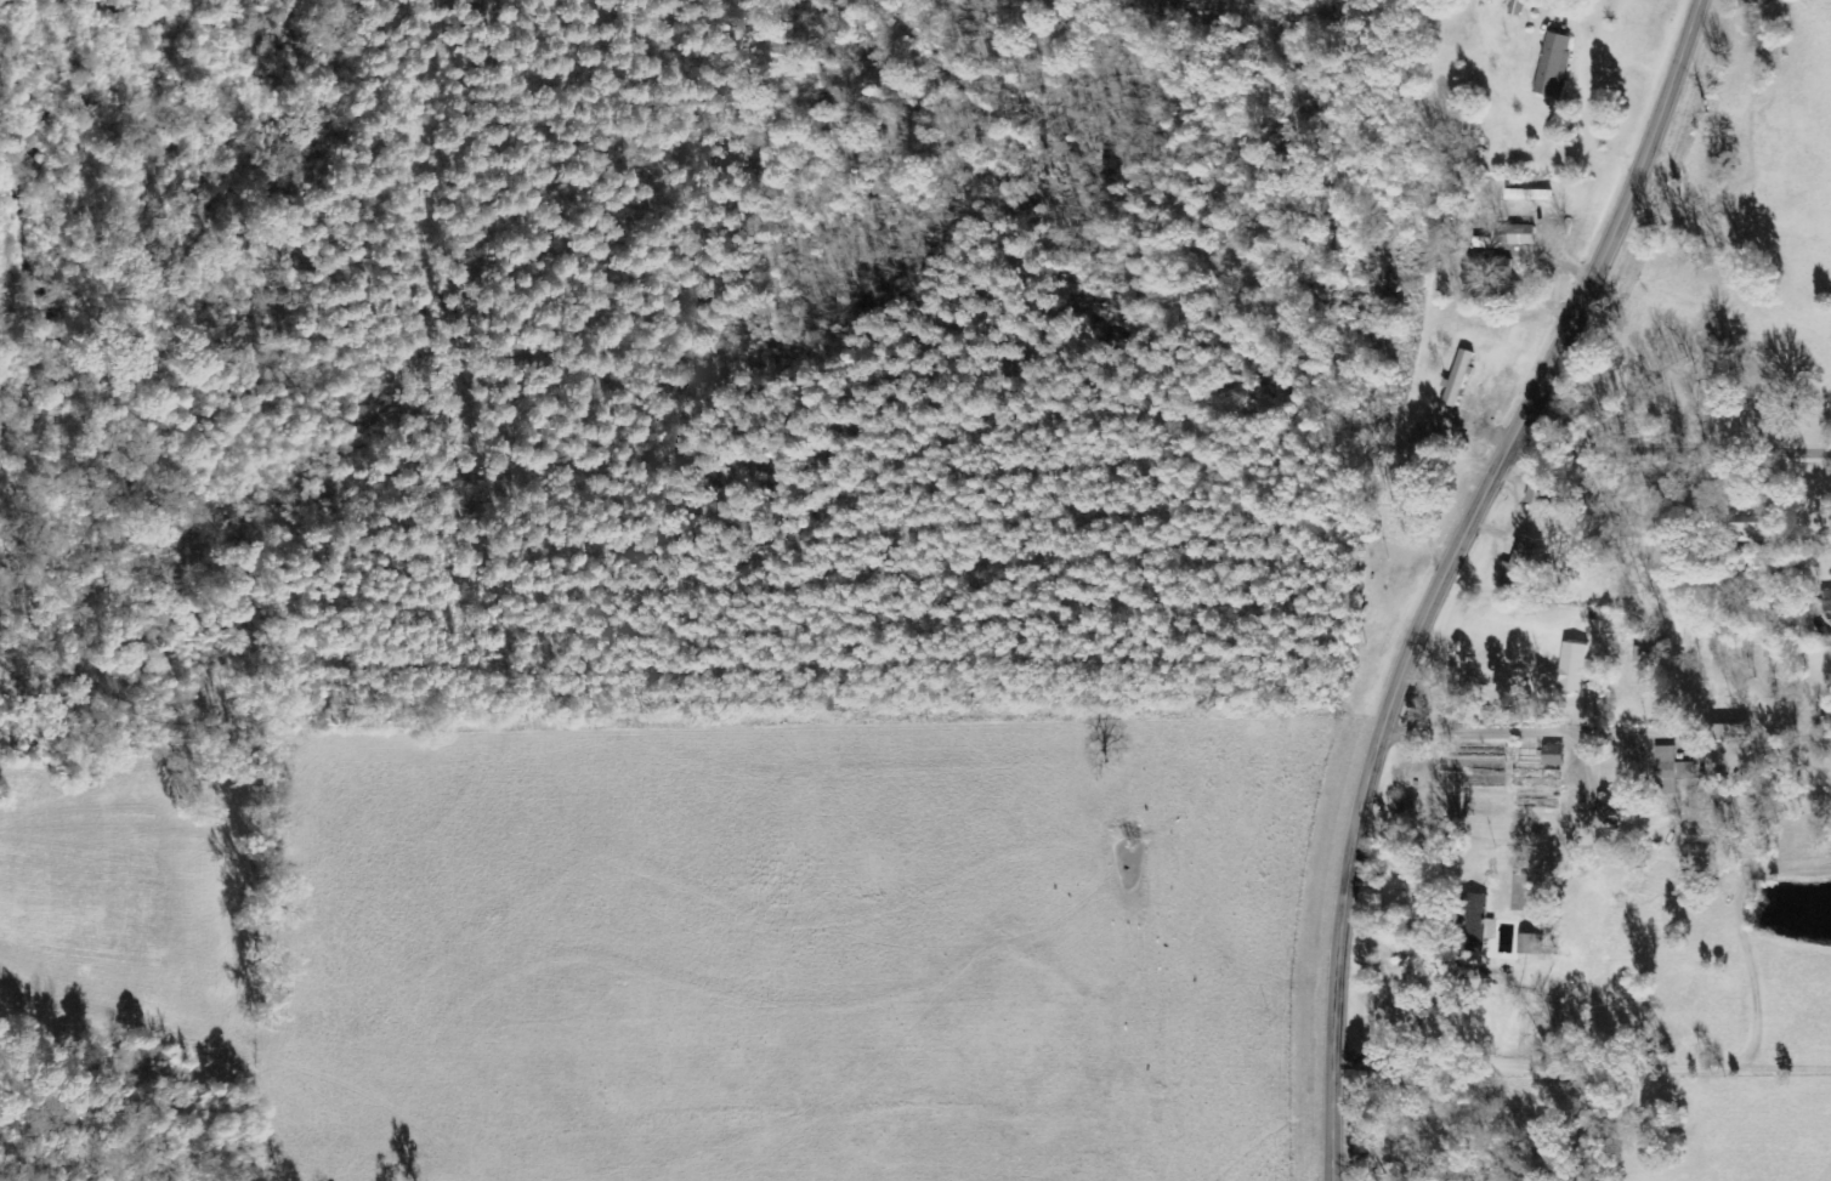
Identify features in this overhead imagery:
building: (1553, 63)
building: (1529, 194)
building: (1520, 234)
building: (1480, 263)
building: (1458, 376)
road: (1670, 442)
building: (1410, 488)
building: (1537, 493)
building: (1752, 523)
building: (1517, 564)
road: (1444, 570)
building: (1827, 603)
building: (1575, 666)
building: (1735, 733)
building: (1554, 755)
building: (1671, 770)
building: (1520, 890)
building: (1475, 922)

